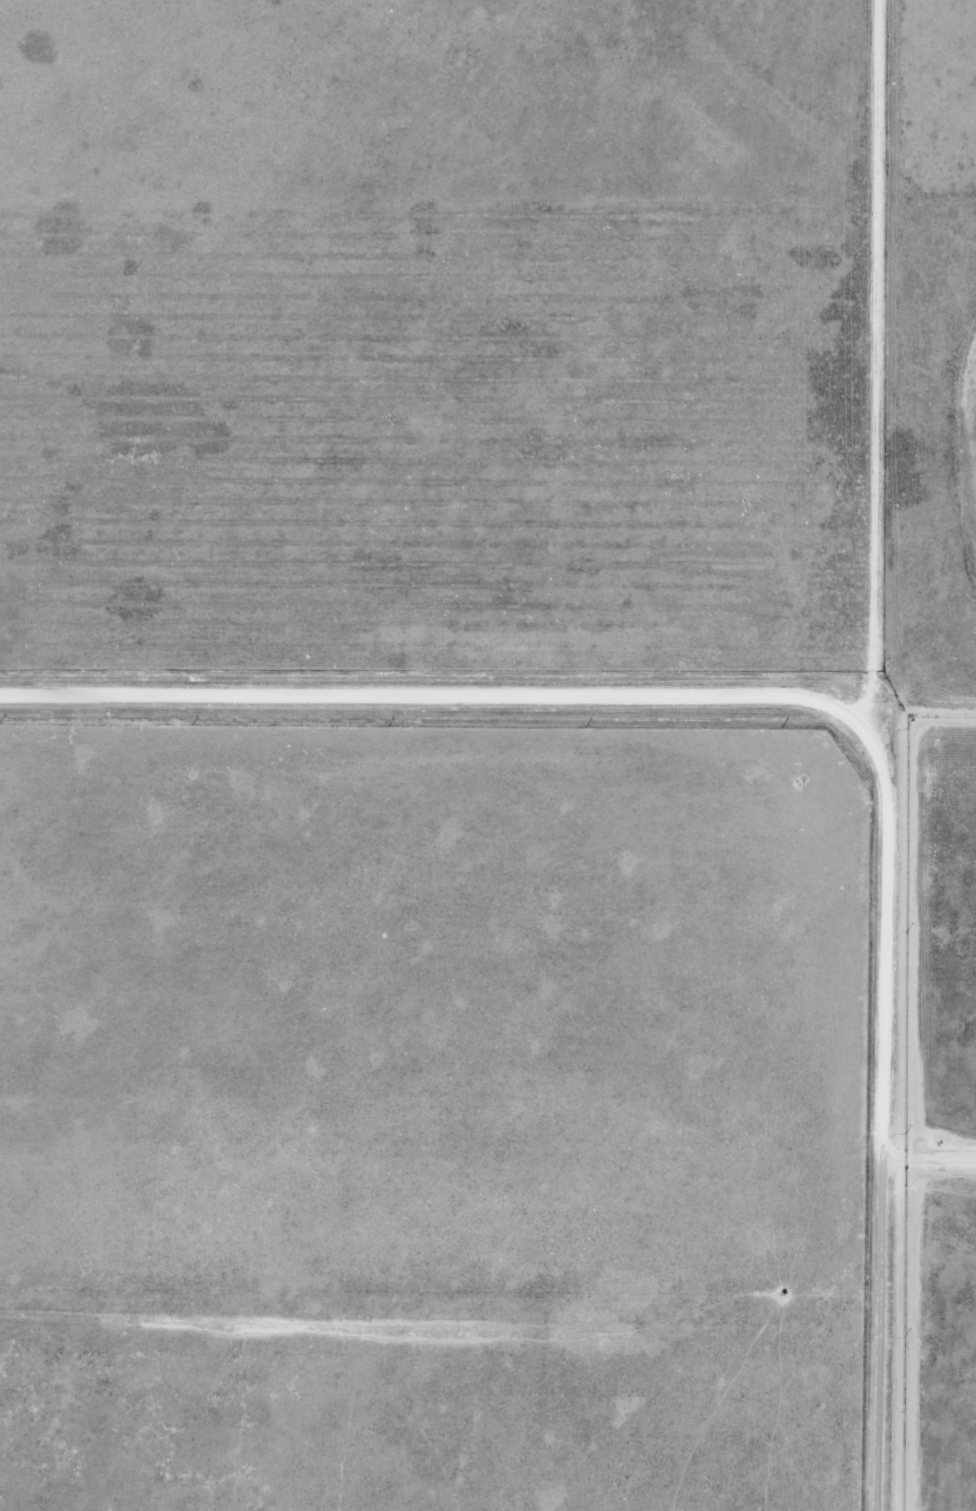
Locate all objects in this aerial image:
road: (445, 694)
road: (887, 1124)

